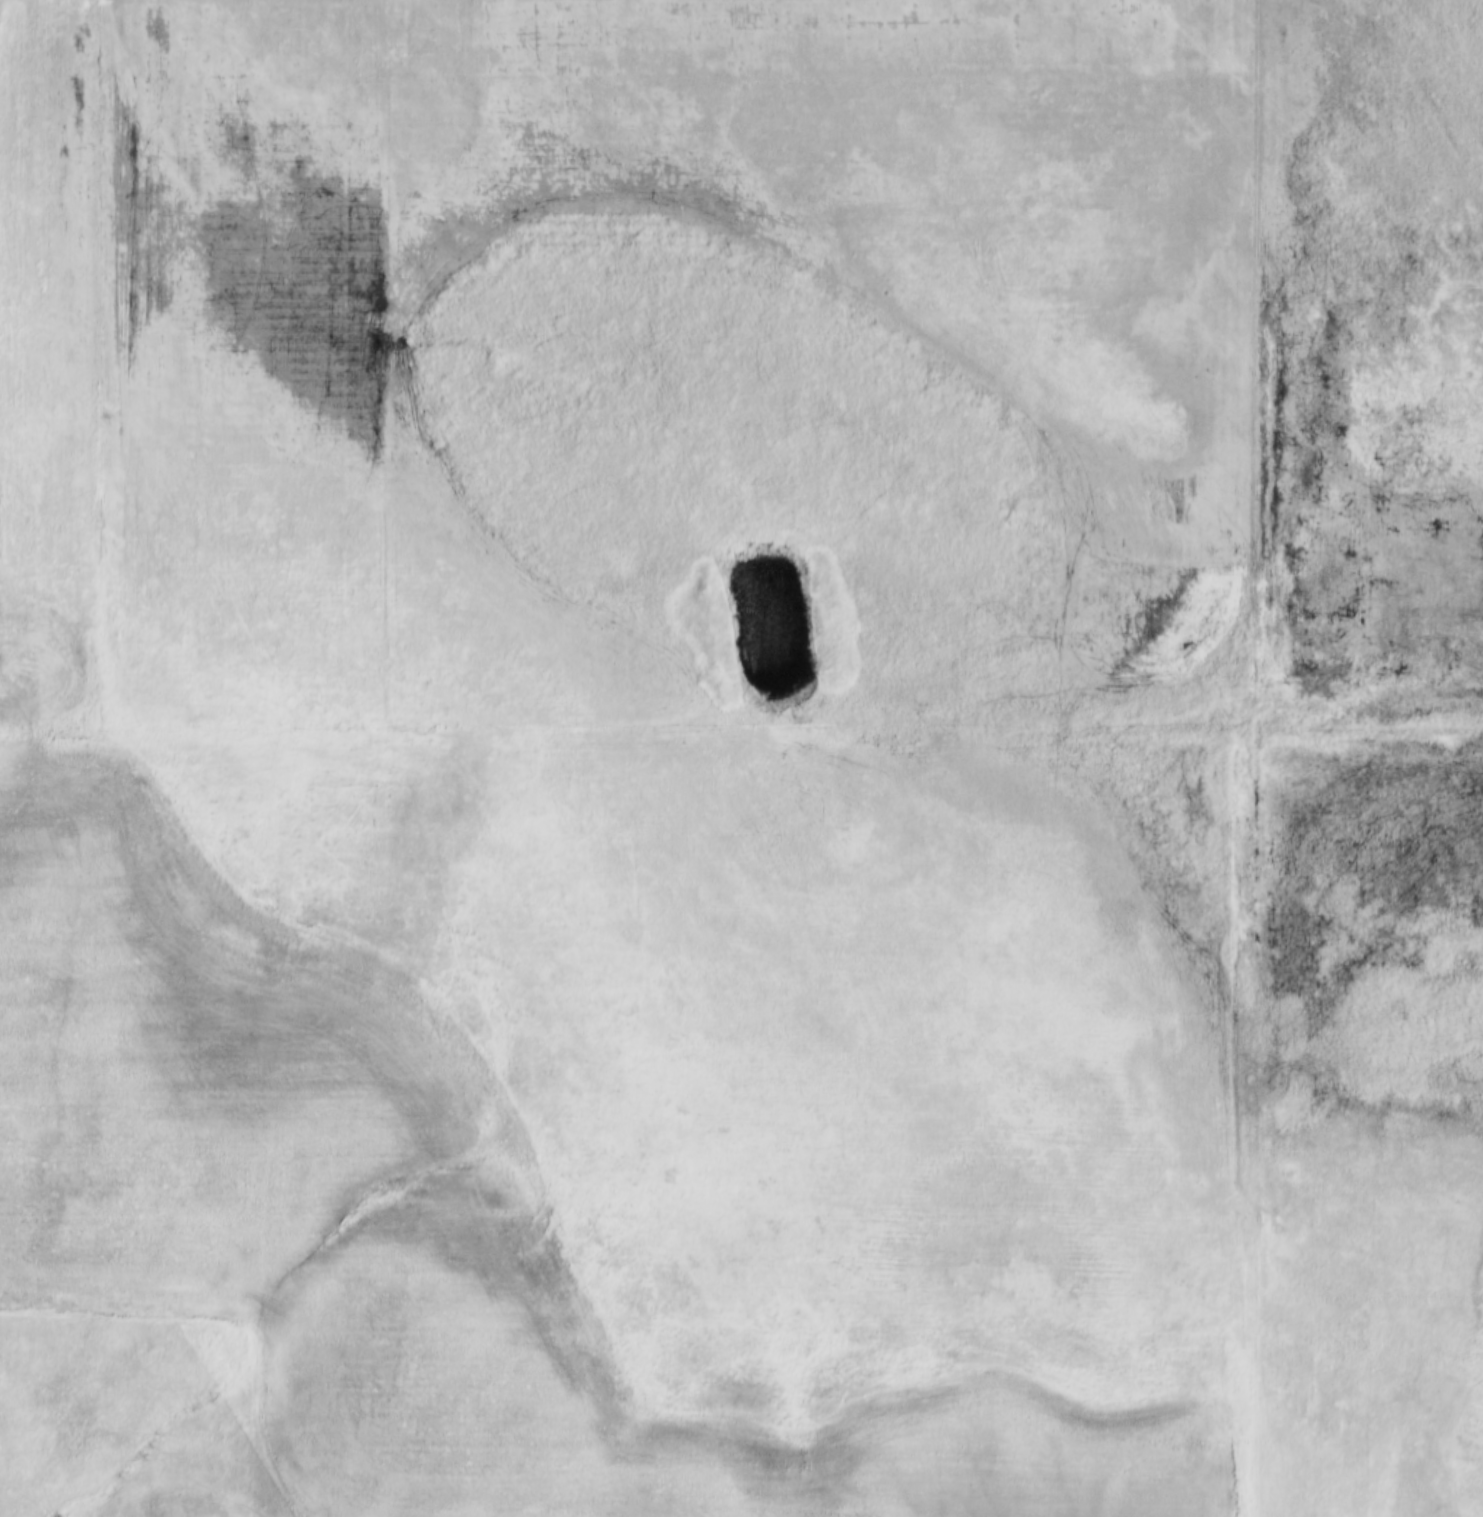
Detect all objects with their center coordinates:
road: (1252, 1131)

